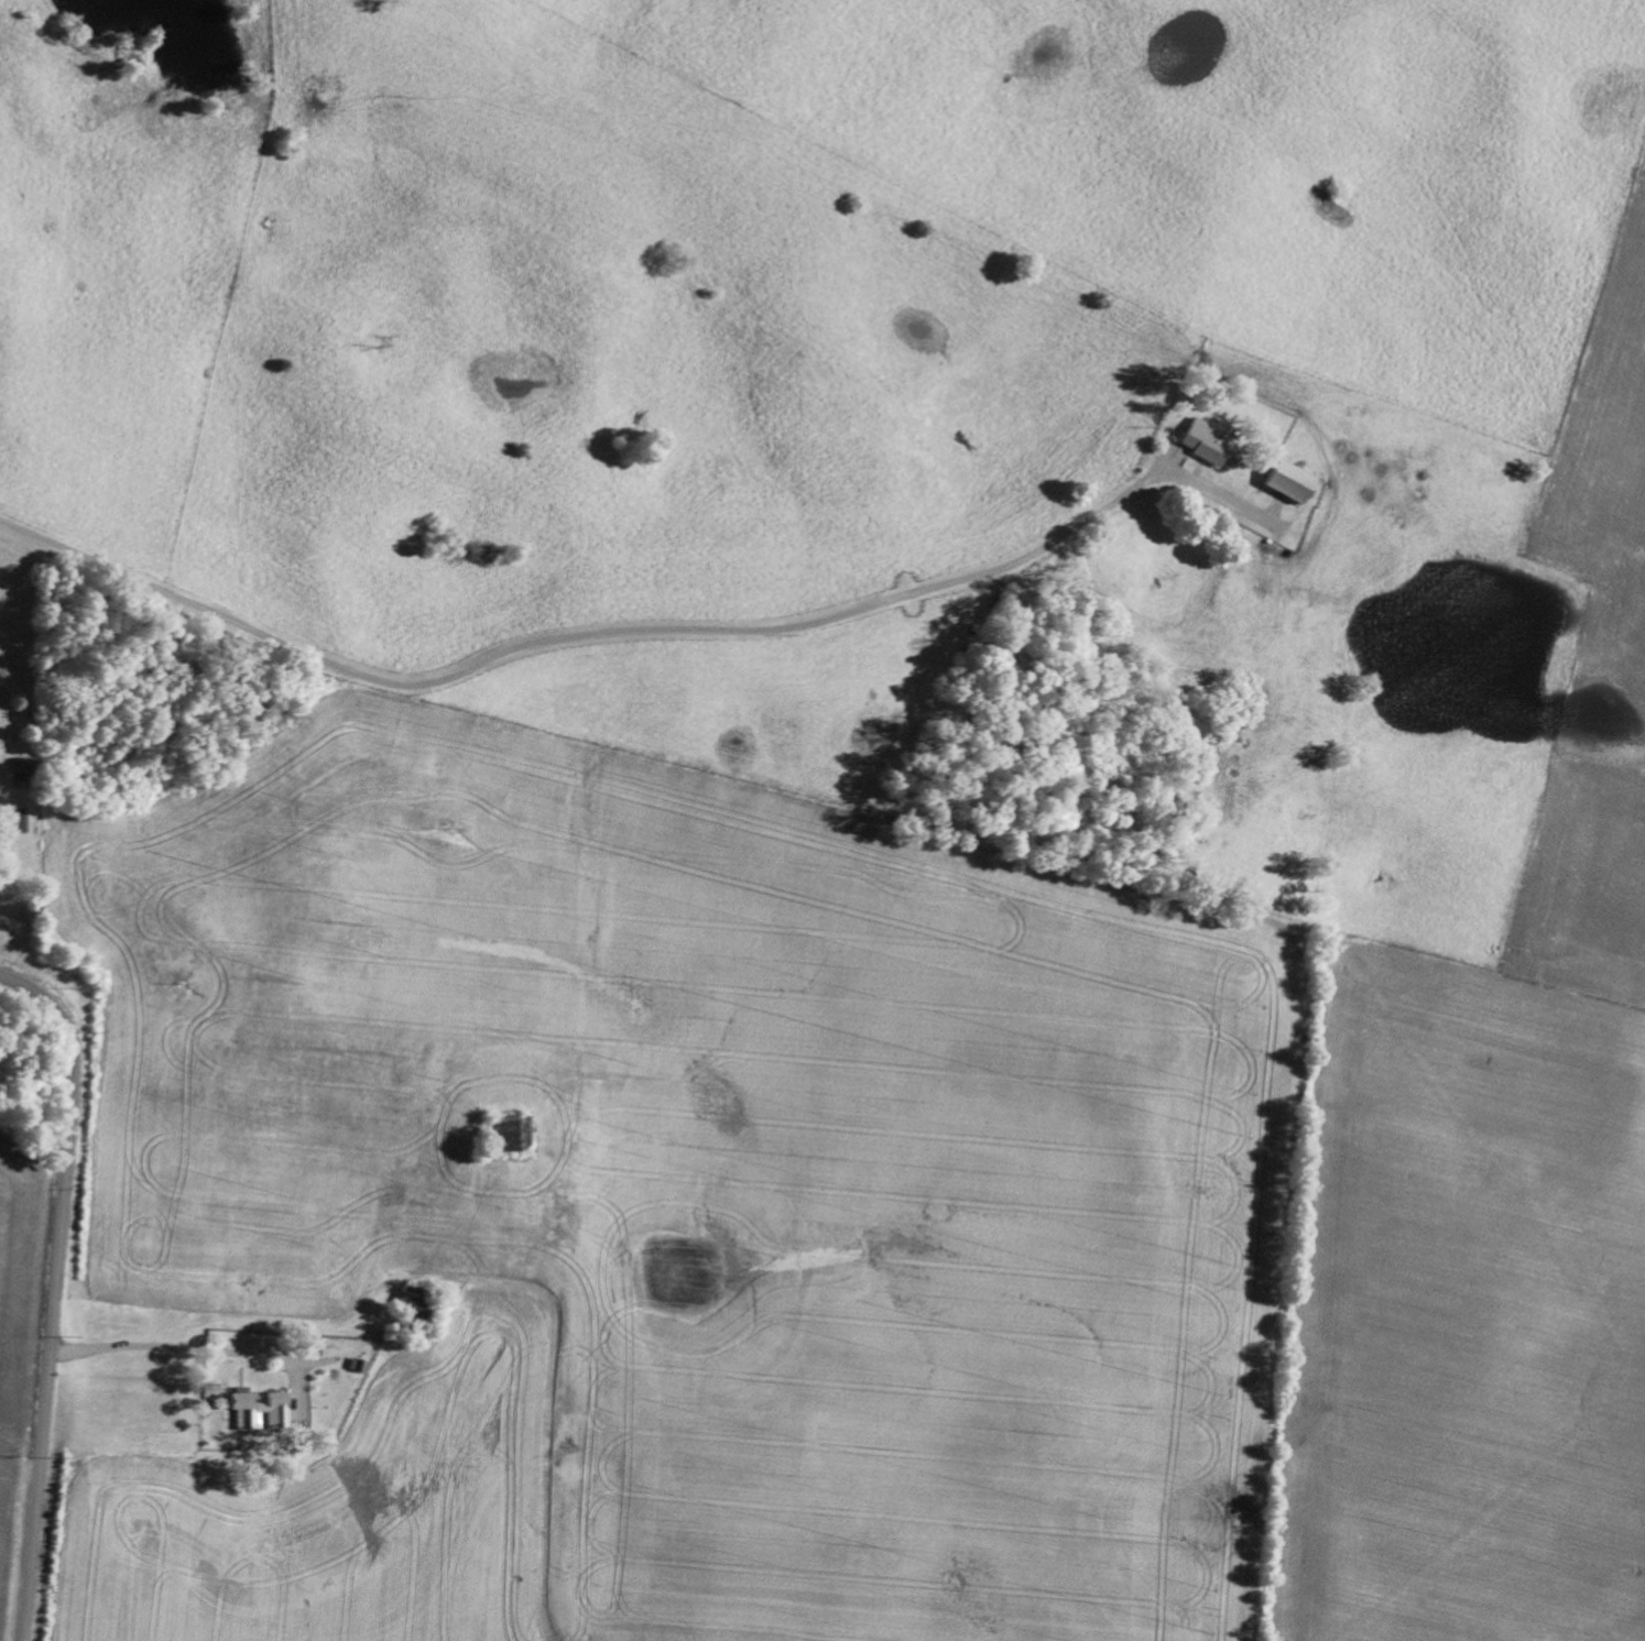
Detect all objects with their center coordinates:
building: (1209, 441)
building: (1293, 481)
road: (560, 606)
building: (516, 1131)
road: (55, 1291)
road: (201, 1358)

